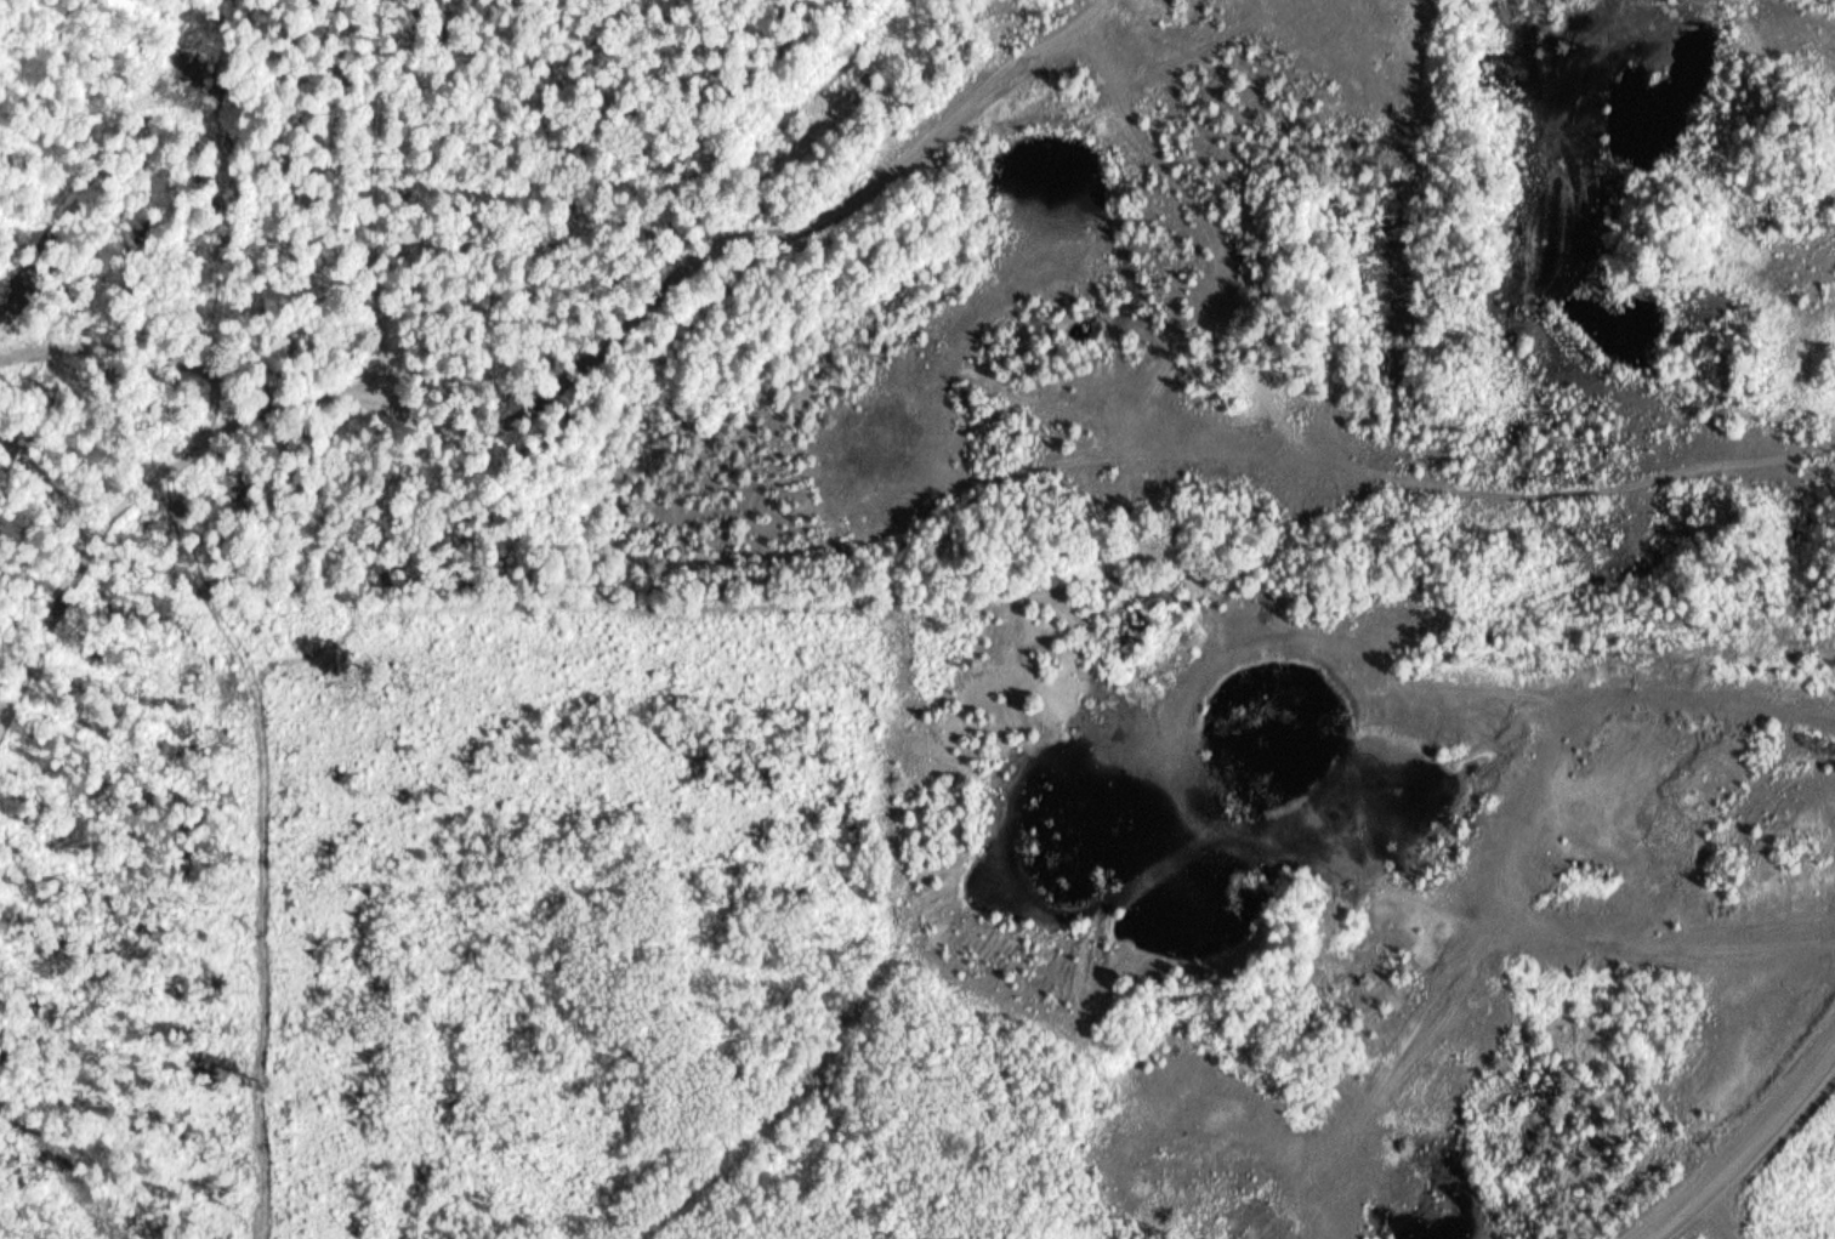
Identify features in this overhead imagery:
road: (513, 409)
road: (1750, 1146)

